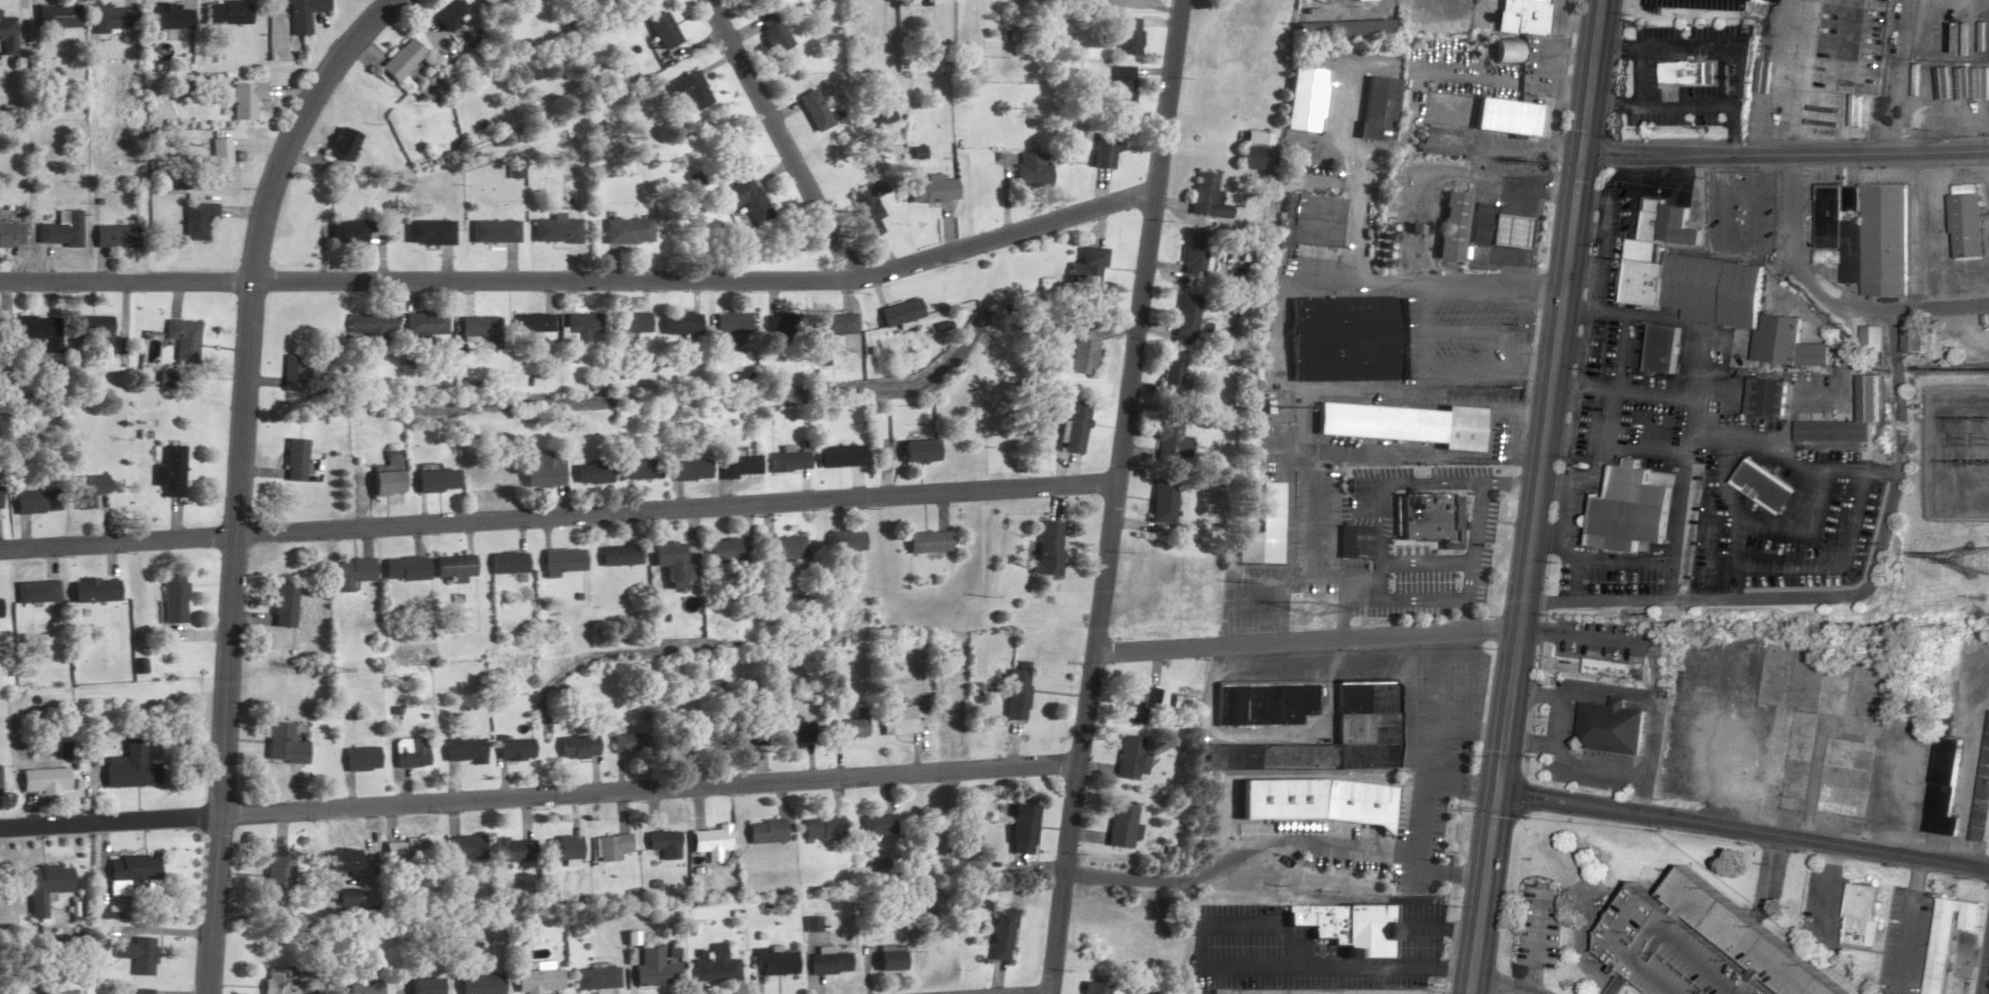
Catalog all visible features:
building: (483, 2)
building: (1124, 4)
building: (227, 12)
building: (302, 14)
building: (450, 15)
building: (56, 16)
building: (168, 16)
building: (1521, 16)
building: (113, 18)
building: (1340, 28)
building: (660, 30)
building: (772, 34)
building: (7, 36)
building: (1128, 36)
building: (1506, 50)
road: (1665, 50)
building: (1867, 51)
building: (399, 59)
building: (1690, 73)
road: (1640, 77)
building: (1122, 84)
building: (689, 89)
building: (1300, 99)
building: (245, 100)
road: (1737, 102)
road: (1661, 104)
building: (812, 109)
building: (1376, 109)
building: (1505, 117)
road: (778, 140)
building: (1438, 141)
building: (340, 144)
building: (1104, 147)
building: (1251, 151)
road: (1784, 155)
building: (219, 160)
building: (1031, 171)
building: (931, 190)
building: (1208, 197)
building: (745, 200)
building: (865, 205)
road: (1384, 211)
road: (1528, 213)
building: (196, 220)
building: (1311, 220)
building: (1967, 223)
building: (1453, 226)
building: (1496, 229)
building: (59, 230)
building: (556, 230)
building: (494, 231)
building: (627, 231)
building: (348, 232)
building: (429, 233)
building: (10, 235)
building: (1864, 235)
building: (113, 237)
building: (1195, 253)
building: (1090, 265)
road: (582, 280)
road: (1419, 280)
building: (1709, 292)
road: (1832, 294)
building: (899, 313)
building: (1187, 315)
building: (532, 322)
building: (632, 323)
building: (680, 323)
building: (425, 324)
building: (782, 325)
building: (834, 325)
road: (1523, 326)
building: (478, 327)
building: (581, 327)
building: (730, 327)
building: (368, 330)
road: (1474, 330)
building: (93, 333)
building: (36, 334)
building: (1353, 337)
building: (1871, 339)
building: (1911, 339)
building: (182, 341)
building: (1661, 350)
building: (1080, 357)
road: (1444, 369)
building: (1173, 378)
building: (1765, 398)
building: (1401, 424)
building: (1073, 428)
building: (1832, 432)
building: (1612, 440)
building: (1168, 445)
building: (918, 451)
power substation: (1960, 456)
building: (840, 457)
building: (295, 460)
building: (787, 462)
building: (738, 466)
building: (639, 470)
building: (689, 470)
building: (541, 471)
building: (169, 472)
building: (591, 474)
road: (238, 477)
building: (385, 481)
building: (434, 481)
road: (1510, 484)
road: (1390, 485)
building: (1764, 487)
building: (86, 491)
road: (1114, 497)
road: (1536, 497)
building: (1160, 500)
building: (35, 502)
road: (558, 515)
building: (1431, 518)
building: (1632, 521)
building: (1262, 530)
building: (1348, 539)
building: (845, 541)
building: (927, 542)
building: (782, 546)
building: (1044, 547)
building: (720, 550)
road: (1317, 550)
building: (616, 555)
road: (1472, 558)
power tower: (1981, 559)
building: (559, 560)
building: (506, 562)
building: (670, 563)
road: (1424, 563)
building: (452, 566)
building: (405, 568)
building: (352, 572)
building: (93, 590)
building: (36, 591)
road: (1349, 595)
building: (173, 597)
road: (1411, 601)
building: (282, 605)
building: (0, 609)
power tower: (1311, 609)
power tower: (854, 635)
road: (1581, 637)
road: (1304, 643)
power tower: (317, 667)
building: (1613, 667)
building: (1016, 691)
road: (1561, 694)
building: (1369, 697)
building: (1267, 703)
road: (1649, 703)
building: (1134, 704)
building: (897, 719)
building: (848, 725)
building: (1369, 727)
building: (1616, 728)
building: (739, 729)
building: (791, 731)
road: (1456, 731)
building: (1800, 736)
building: (691, 738)
building: (626, 742)
building: (281, 743)
building: (576, 746)
building: (512, 748)
road: (1410, 748)
building: (461, 749)
building: (408, 752)
building: (1304, 754)
building: (359, 758)
building: (1132, 758)
building: (1945, 760)
building: (128, 767)
road: (1587, 768)
building: (1844, 777)
building: (42, 779)
road: (1463, 786)
building: (1982, 790)
road: (540, 797)
building: (1323, 801)
building: (1940, 824)
building: (876, 825)
building: (1122, 826)
building: (820, 828)
building: (1022, 828)
road: (1742, 829)
building: (764, 831)
building: (711, 841)
road: (1278, 842)
building: (663, 843)
building: (611, 846)
building: (463, 847)
building: (562, 847)
building: (405, 850)
building: (513, 850)
building: (339, 859)
building: (129, 874)
building: (275, 875)
building: (43, 886)
road: (1832, 886)
building: (346, 899)
building: (104, 912)
building: (1862, 916)
road: (1910, 926)
road: (1441, 927)
building: (1354, 928)
building: (999, 934)
building: (1947, 938)
road: (1203, 940)
building: (1700, 946)
building: (138, 954)
building: (889, 961)
building: (772, 962)
building: (828, 963)
building: (714, 966)
building: (653, 969)
road: (1393, 969)
building: (594, 978)
building: (535, 980)
building: (281, 981)
road: (1987, 981)
building: (478, 984)
building: (360, 985)
building: (423, 986)
building: (1092, 987)
building: (139, 991)

